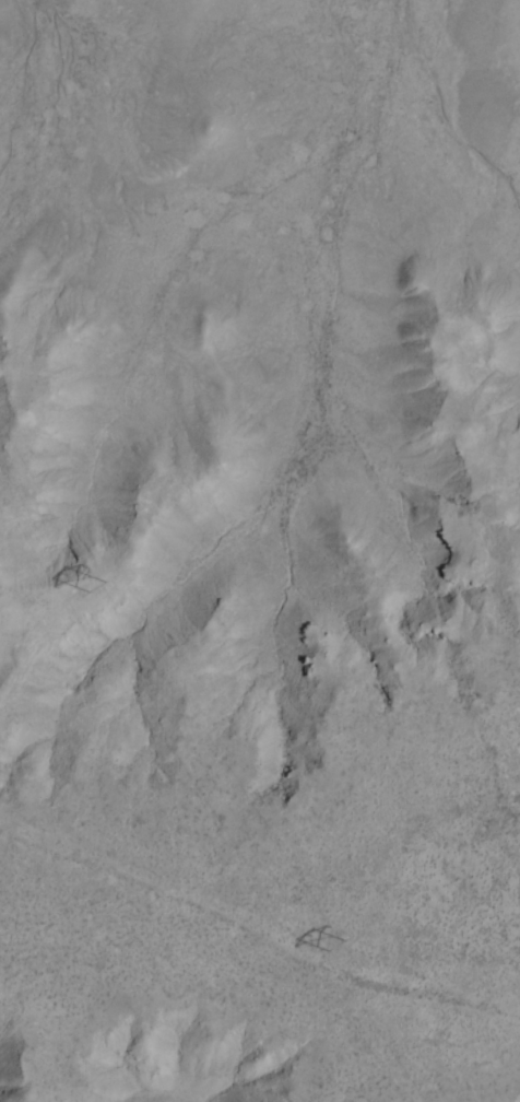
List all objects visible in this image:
power tower: (97, 584)
power tower: (339, 943)

